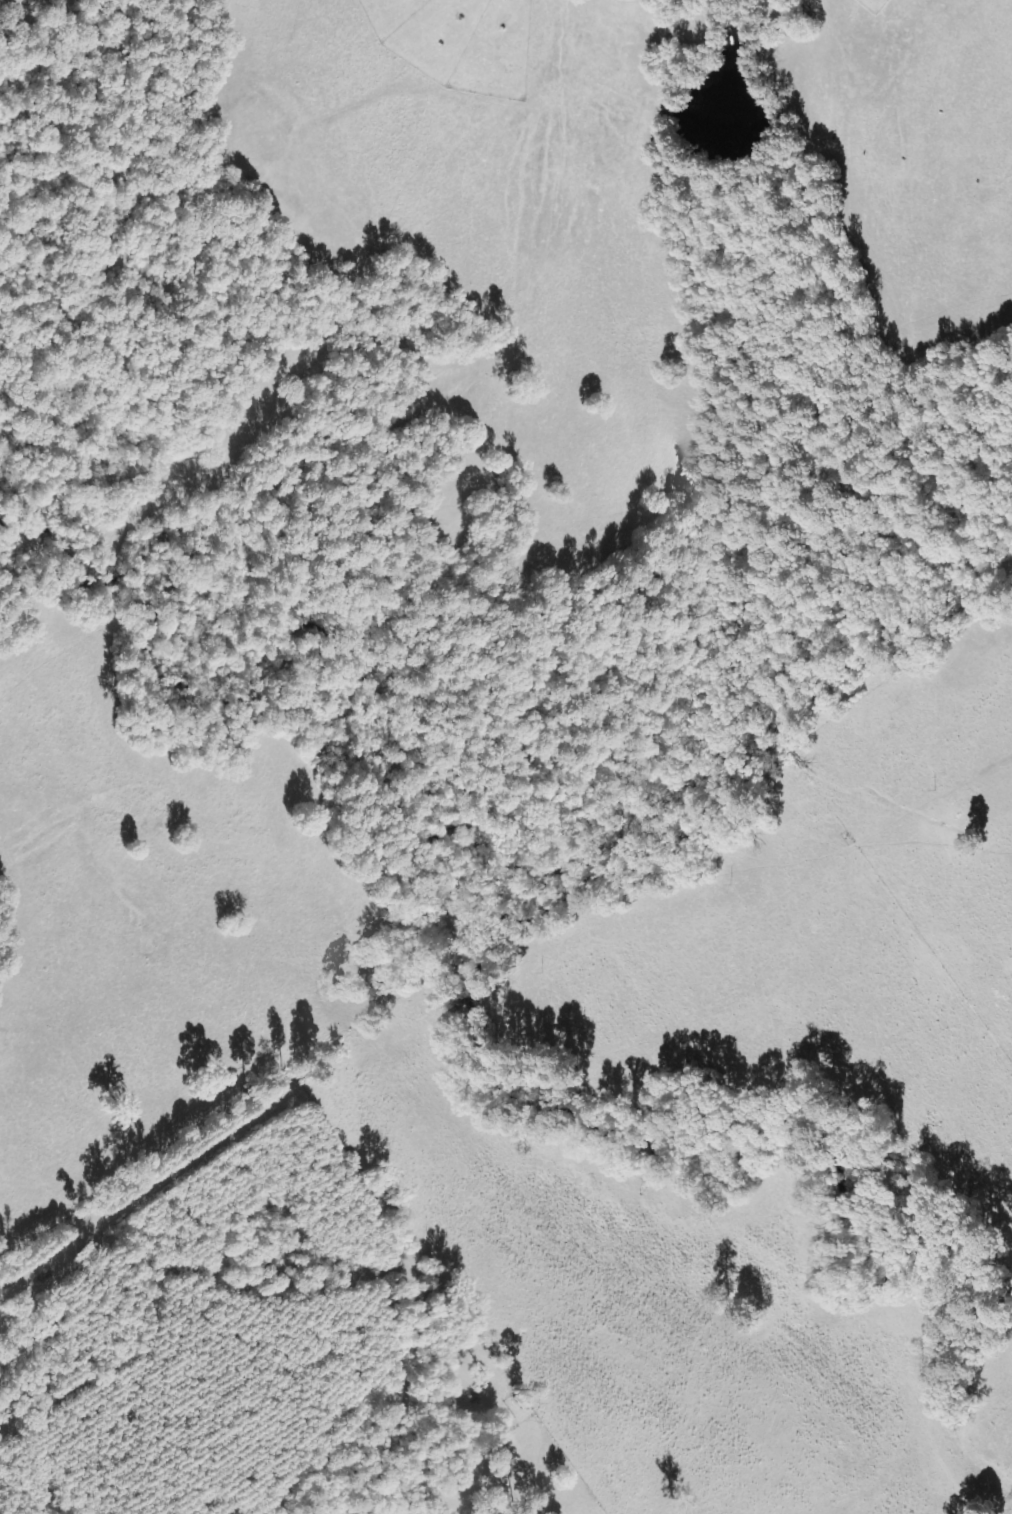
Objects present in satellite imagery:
road: (23, 1313)

